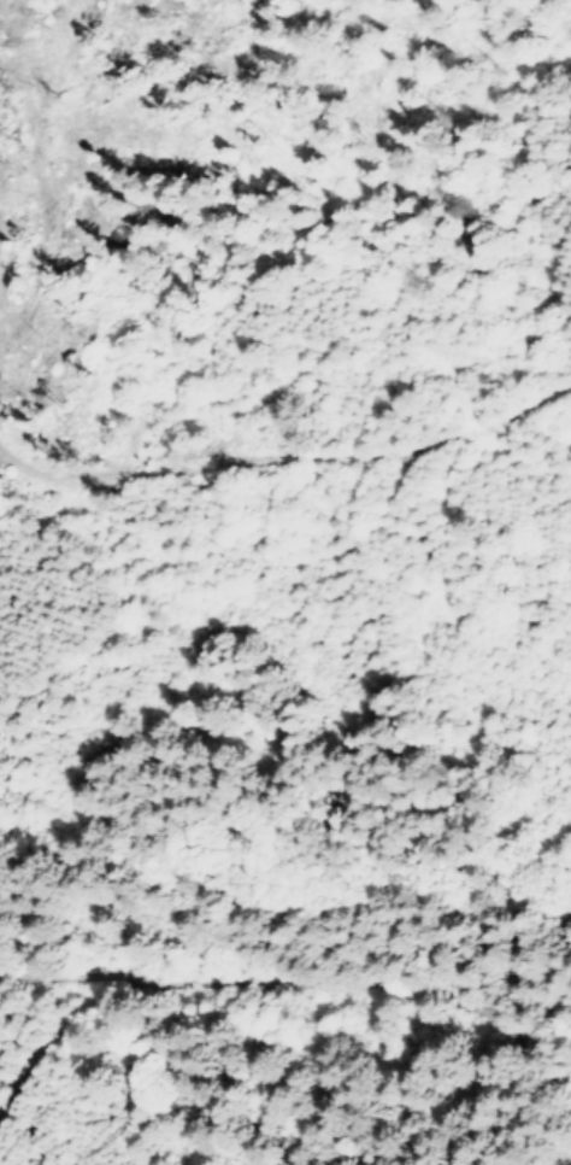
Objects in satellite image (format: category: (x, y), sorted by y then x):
road: (288, 482)

